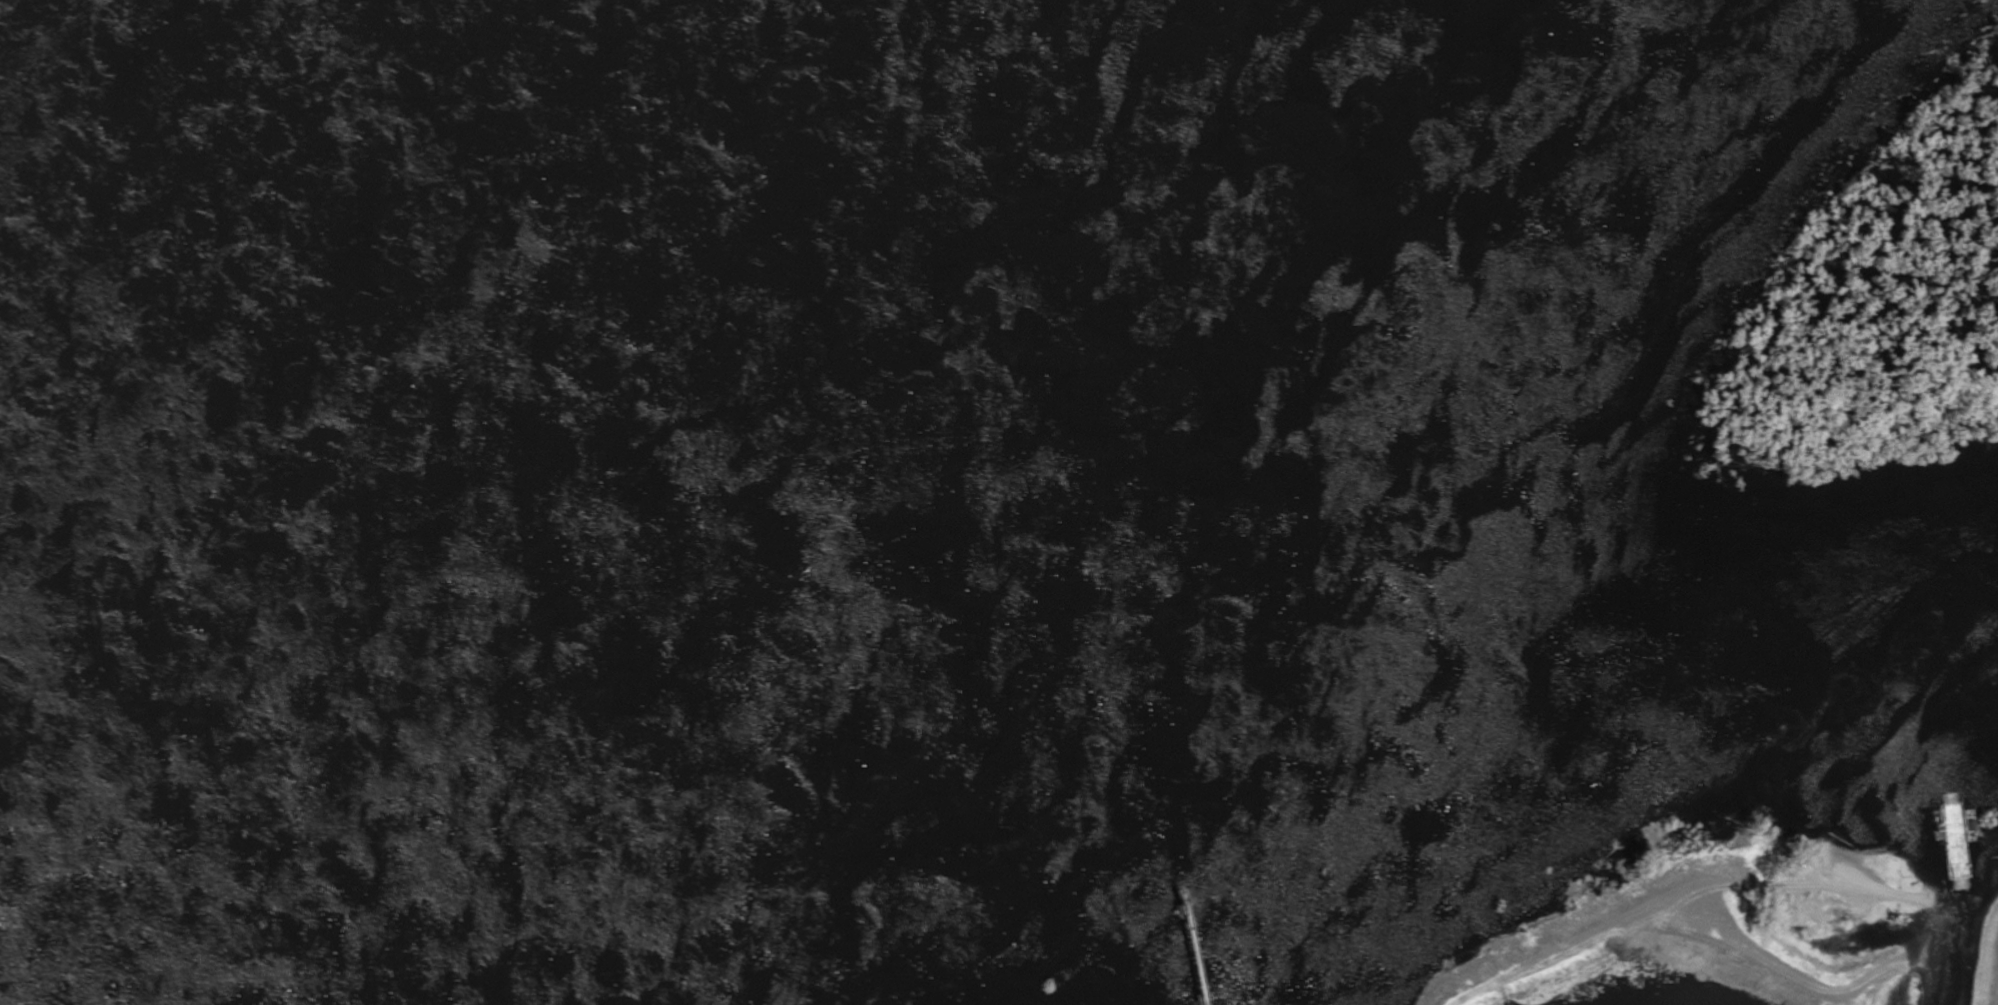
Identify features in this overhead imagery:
river: (1002, 719)
road: (1954, 882)

